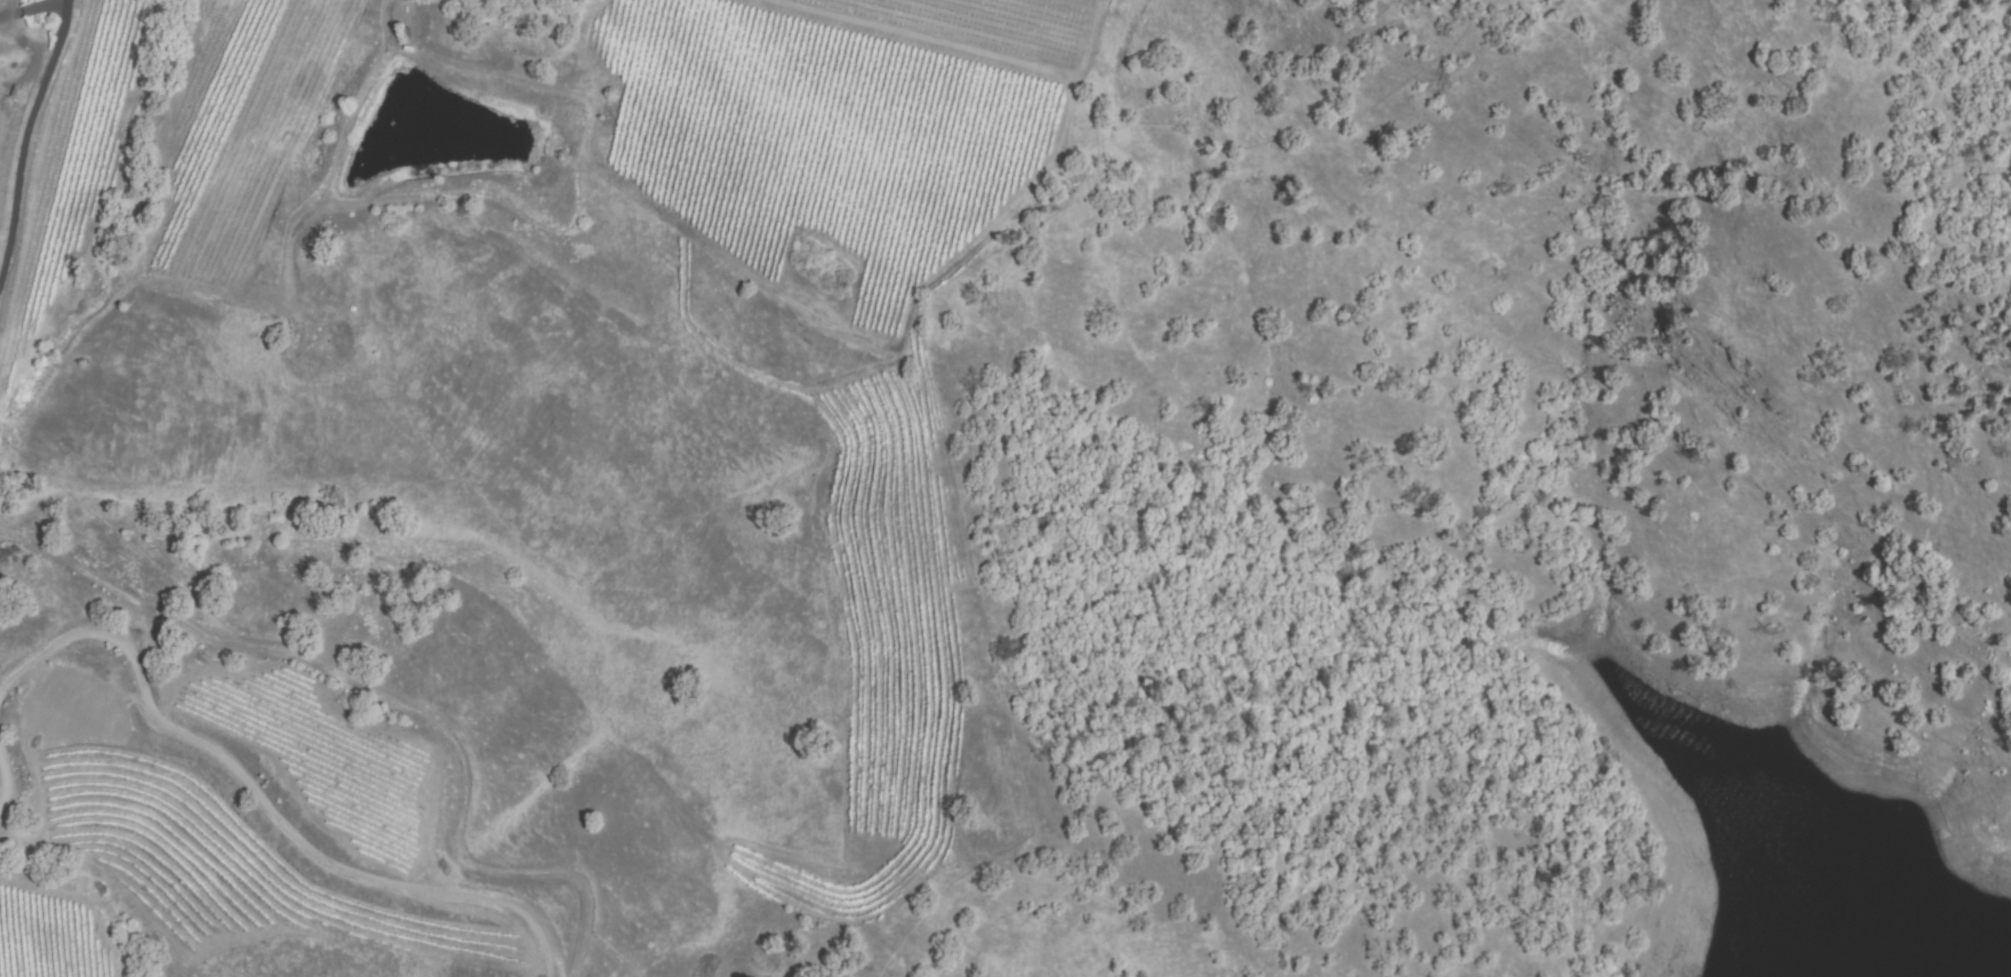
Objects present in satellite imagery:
road: (26, 138)

